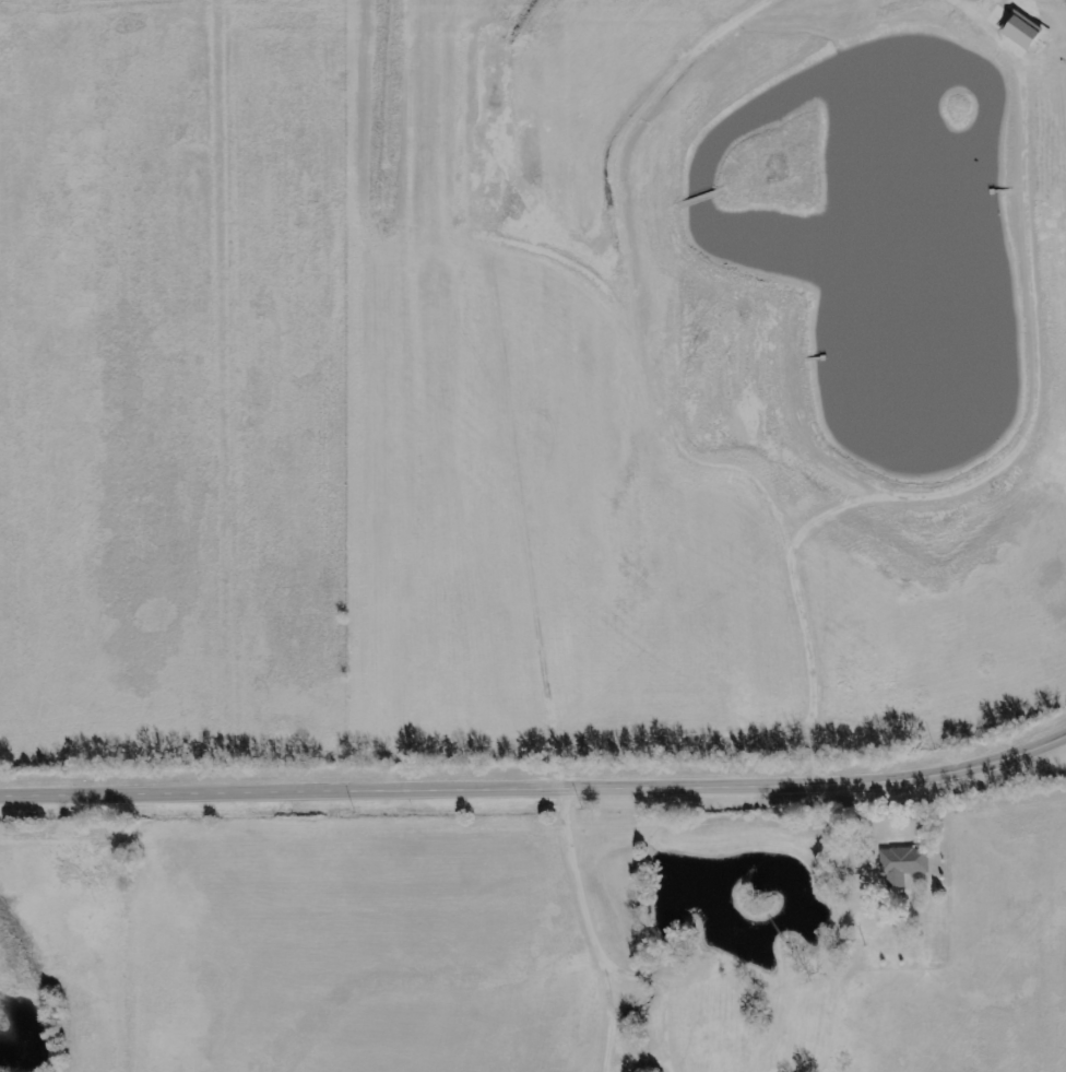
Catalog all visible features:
building: (1019, 31)
road: (536, 790)
building: (905, 863)

